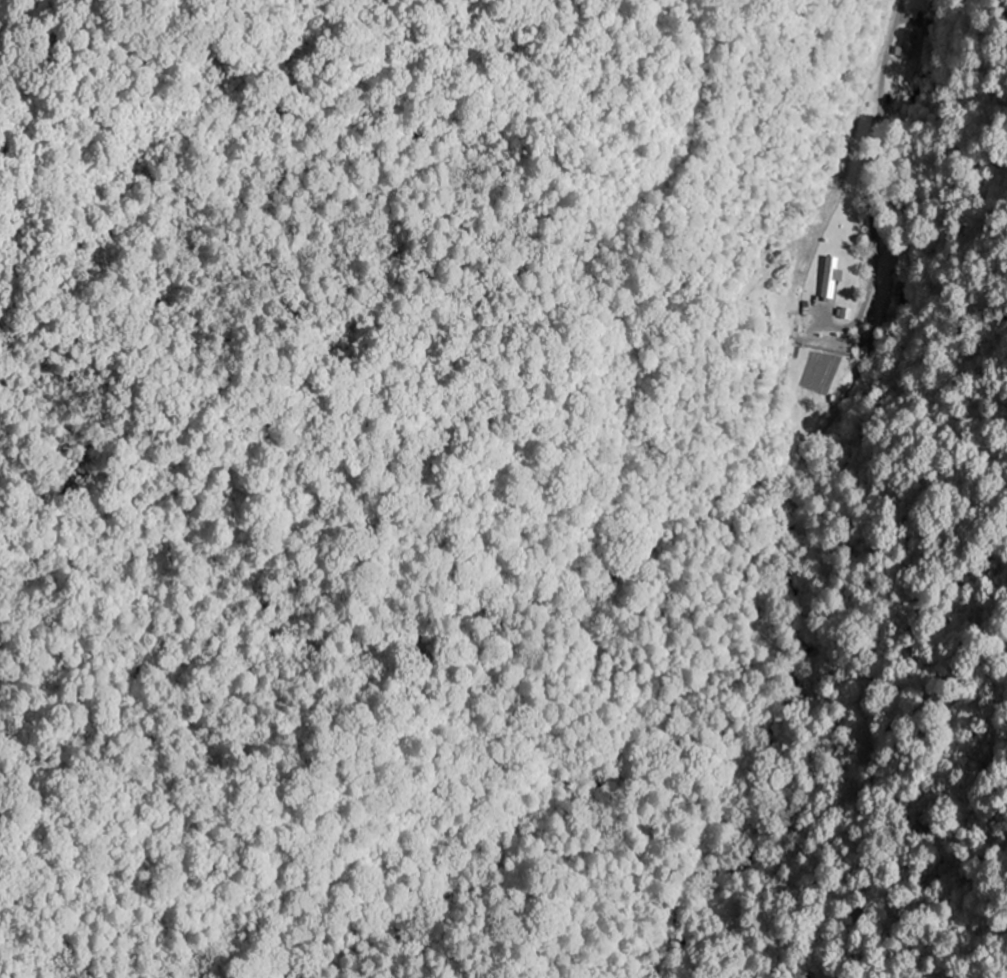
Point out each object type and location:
building: (909, 45)
building: (832, 277)
building: (847, 314)

